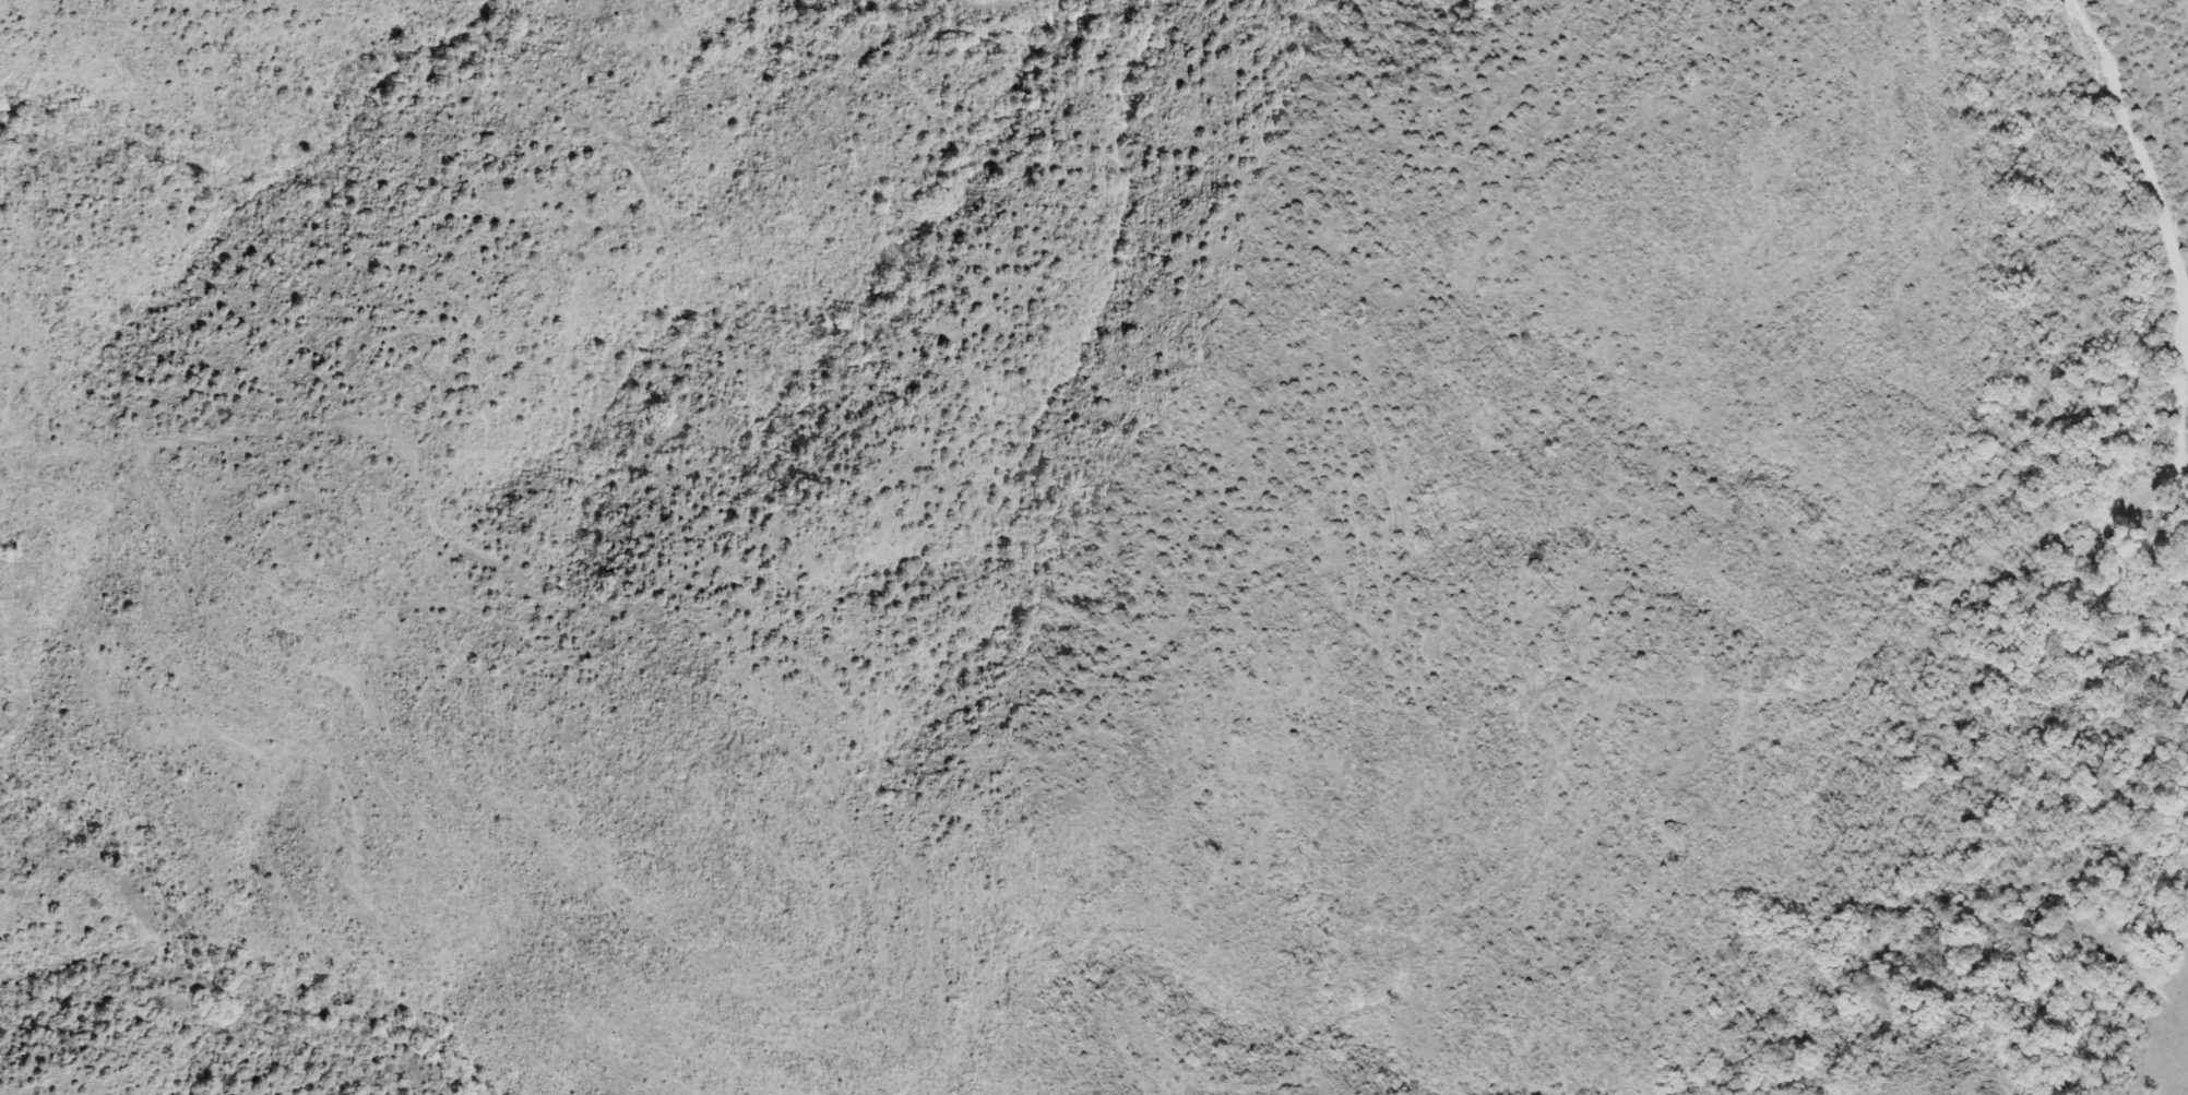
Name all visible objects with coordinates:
road: (2154, 862)

